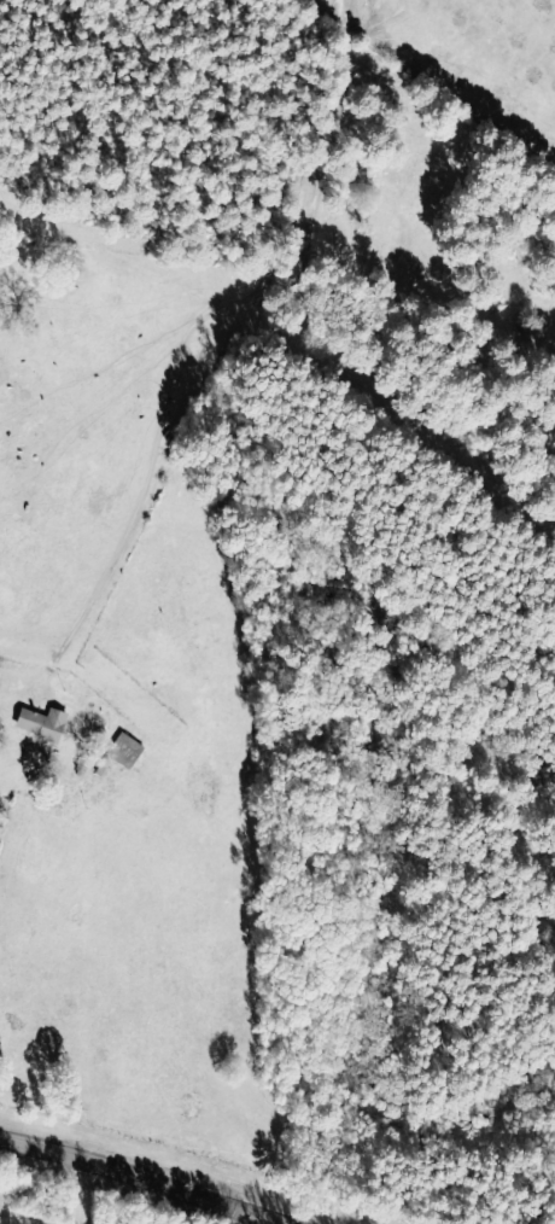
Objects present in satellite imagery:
building: (45, 724)
building: (127, 751)
road: (144, 1176)

